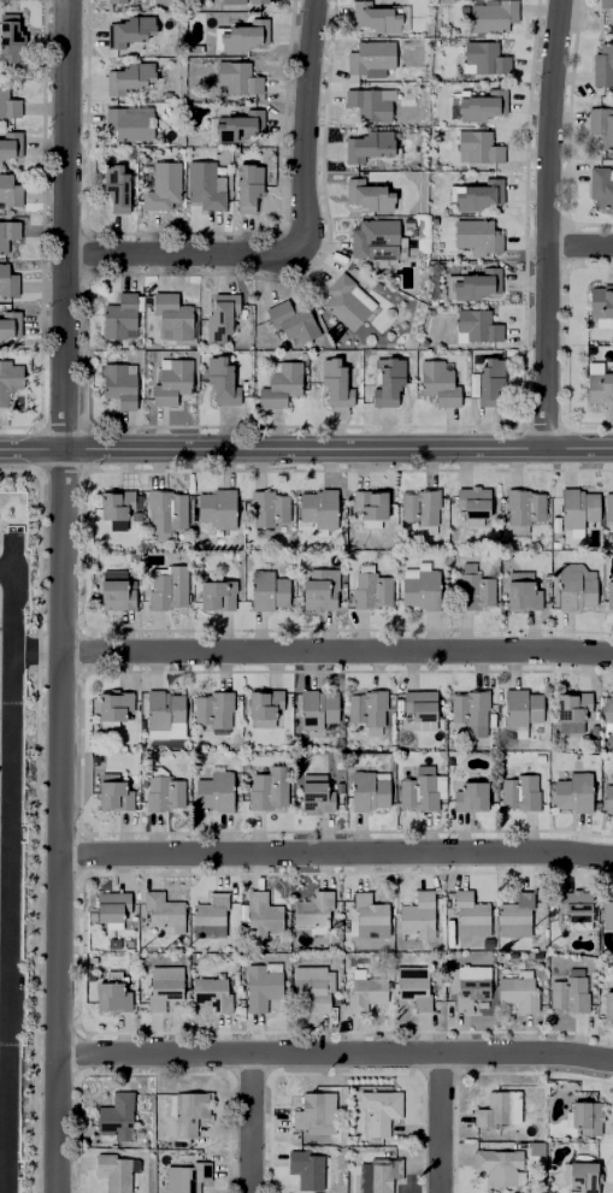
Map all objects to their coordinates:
building: (114, 1)
building: (240, 2)
building: (441, 4)
building: (606, 8)
building: (488, 16)
building: (376, 18)
building: (131, 34)
building: (238, 36)
building: (7, 39)
building: (366, 58)
building: (482, 59)
building: (601, 66)
building: (124, 78)
building: (232, 78)
building: (165, 95)
building: (472, 101)
building: (365, 102)
building: (0, 107)
building: (226, 120)
building: (125, 122)
building: (600, 123)
road: (303, 125)
building: (2, 140)
building: (363, 141)
building: (477, 143)
building: (202, 182)
building: (242, 182)
building: (159, 183)
building: (599, 183)
building: (113, 184)
building: (6, 189)
building: (364, 190)
building: (471, 190)
building: (431, 222)
building: (406, 223)
road: (547, 223)
building: (6, 226)
building: (411, 232)
building: (475, 234)
building: (373, 237)
road: (579, 247)
road: (184, 255)
building: (466, 279)
building: (6, 280)
building: (341, 299)
building: (599, 300)
building: (116, 313)
building: (169, 313)
building: (216, 314)
building: (7, 319)
building: (290, 319)
building: (472, 324)
building: (484, 371)
building: (383, 376)
building: (166, 377)
building: (332, 378)
building: (116, 379)
building: (216, 379)
building: (277, 379)
building: (435, 379)
building: (10, 380)
building: (599, 384)
road: (306, 448)
building: (470, 497)
building: (111, 500)
building: (607, 501)
building: (213, 506)
building: (365, 506)
building: (316, 507)
building: (418, 507)
building: (163, 508)
building: (264, 508)
building: (519, 509)
building: (576, 509)
building: (165, 583)
building: (471, 583)
building: (314, 584)
building: (366, 584)
building: (417, 584)
building: (571, 585)
building: (264, 587)
building: (212, 589)
building: (111, 590)
building: (518, 591)
building: (608, 591)
road: (61, 596)
road: (36, 654)
road: (337, 654)
building: (261, 701)
building: (415, 703)
building: (108, 704)
building: (606, 705)
building: (212, 707)
building: (568, 707)
building: (363, 708)
building: (467, 708)
building: (517, 708)
building: (312, 709)
building: (160, 715)
building: (167, 733)
building: (160, 785)
building: (418, 785)
building: (212, 787)
building: (365, 787)
building: (110, 789)
building: (261, 789)
building: (517, 789)
building: (311, 791)
building: (464, 791)
building: (570, 791)
building: (606, 795)
road: (336, 855)
road: (8, 881)
building: (105, 905)
building: (158, 906)
building: (572, 906)
building: (606, 911)
building: (257, 913)
building: (367, 913)
building: (414, 913)
building: (466, 913)
building: (207, 914)
building: (512, 914)
building: (314, 916)
building: (158, 981)
building: (408, 982)
building: (467, 982)
building: (257, 984)
building: (105, 987)
building: (514, 988)
building: (314, 991)
building: (361, 991)
building: (566, 991)
building: (212, 996)
building: (606, 996)
road: (335, 1056)
building: (313, 1105)
building: (496, 1106)
building: (378, 1108)
building: (182, 1109)
building: (580, 1112)
building: (111, 1116)
road: (248, 1124)
road: (438, 1124)
building: (494, 1163)
building: (302, 1167)
building: (110, 1170)
building: (579, 1174)
building: (181, 1175)
building: (366, 1176)

